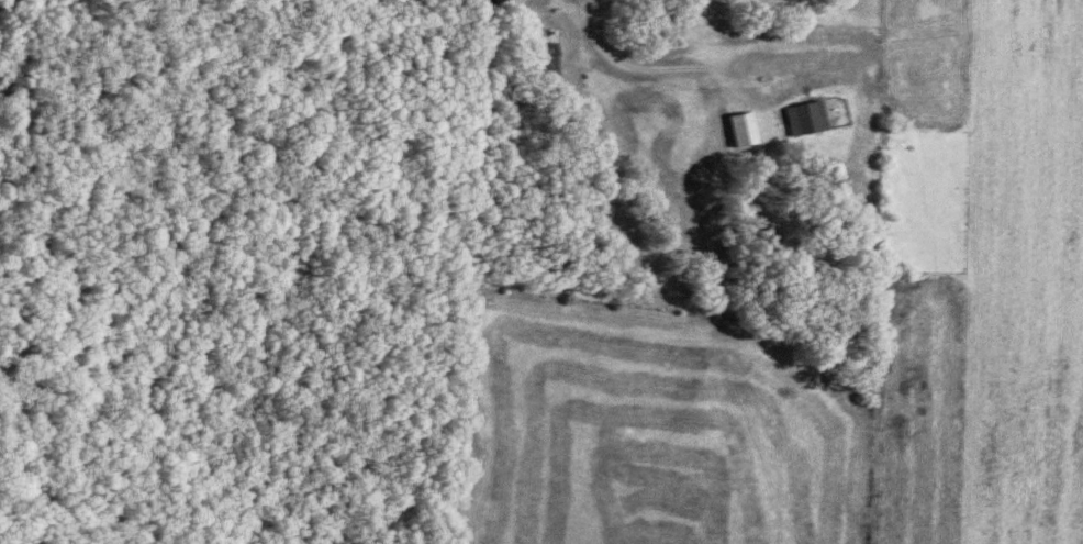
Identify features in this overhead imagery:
building: (738, 131)

